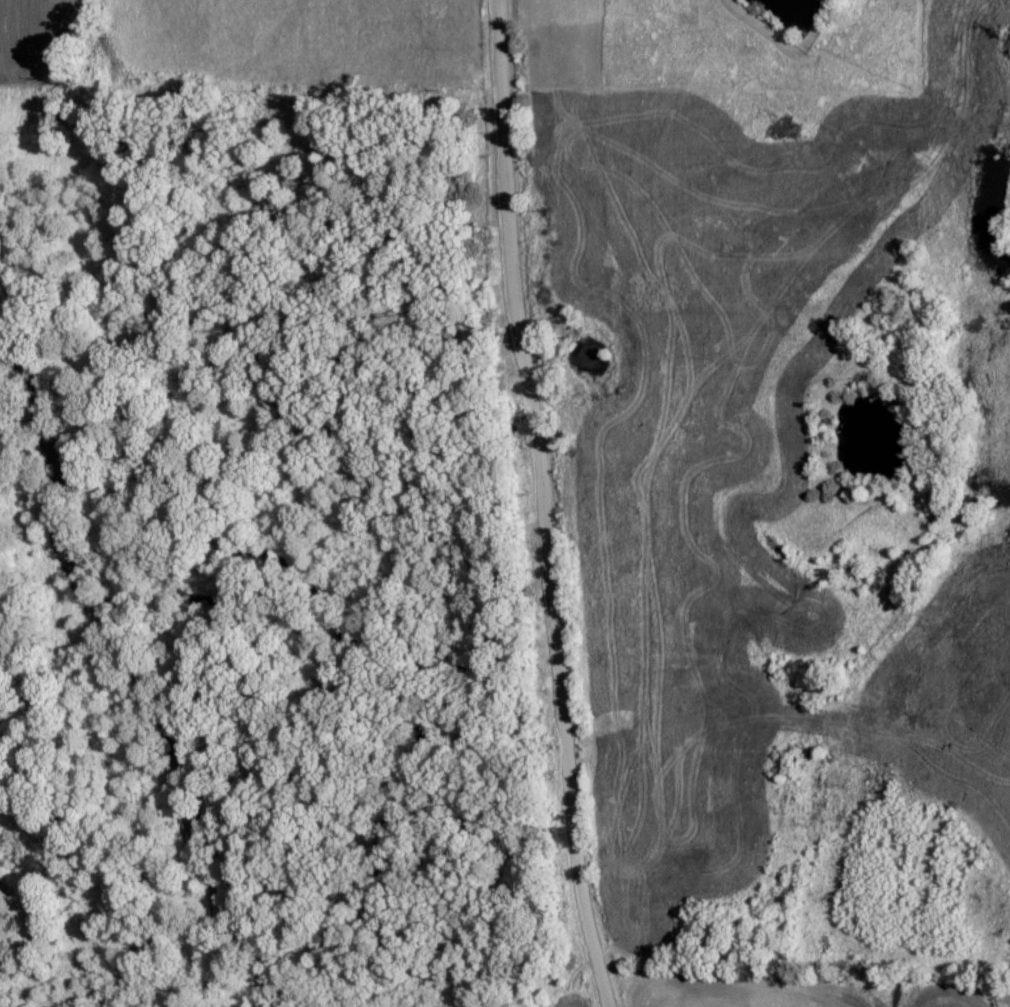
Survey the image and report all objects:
road: (546, 505)
building: (609, 575)
building: (634, 769)

